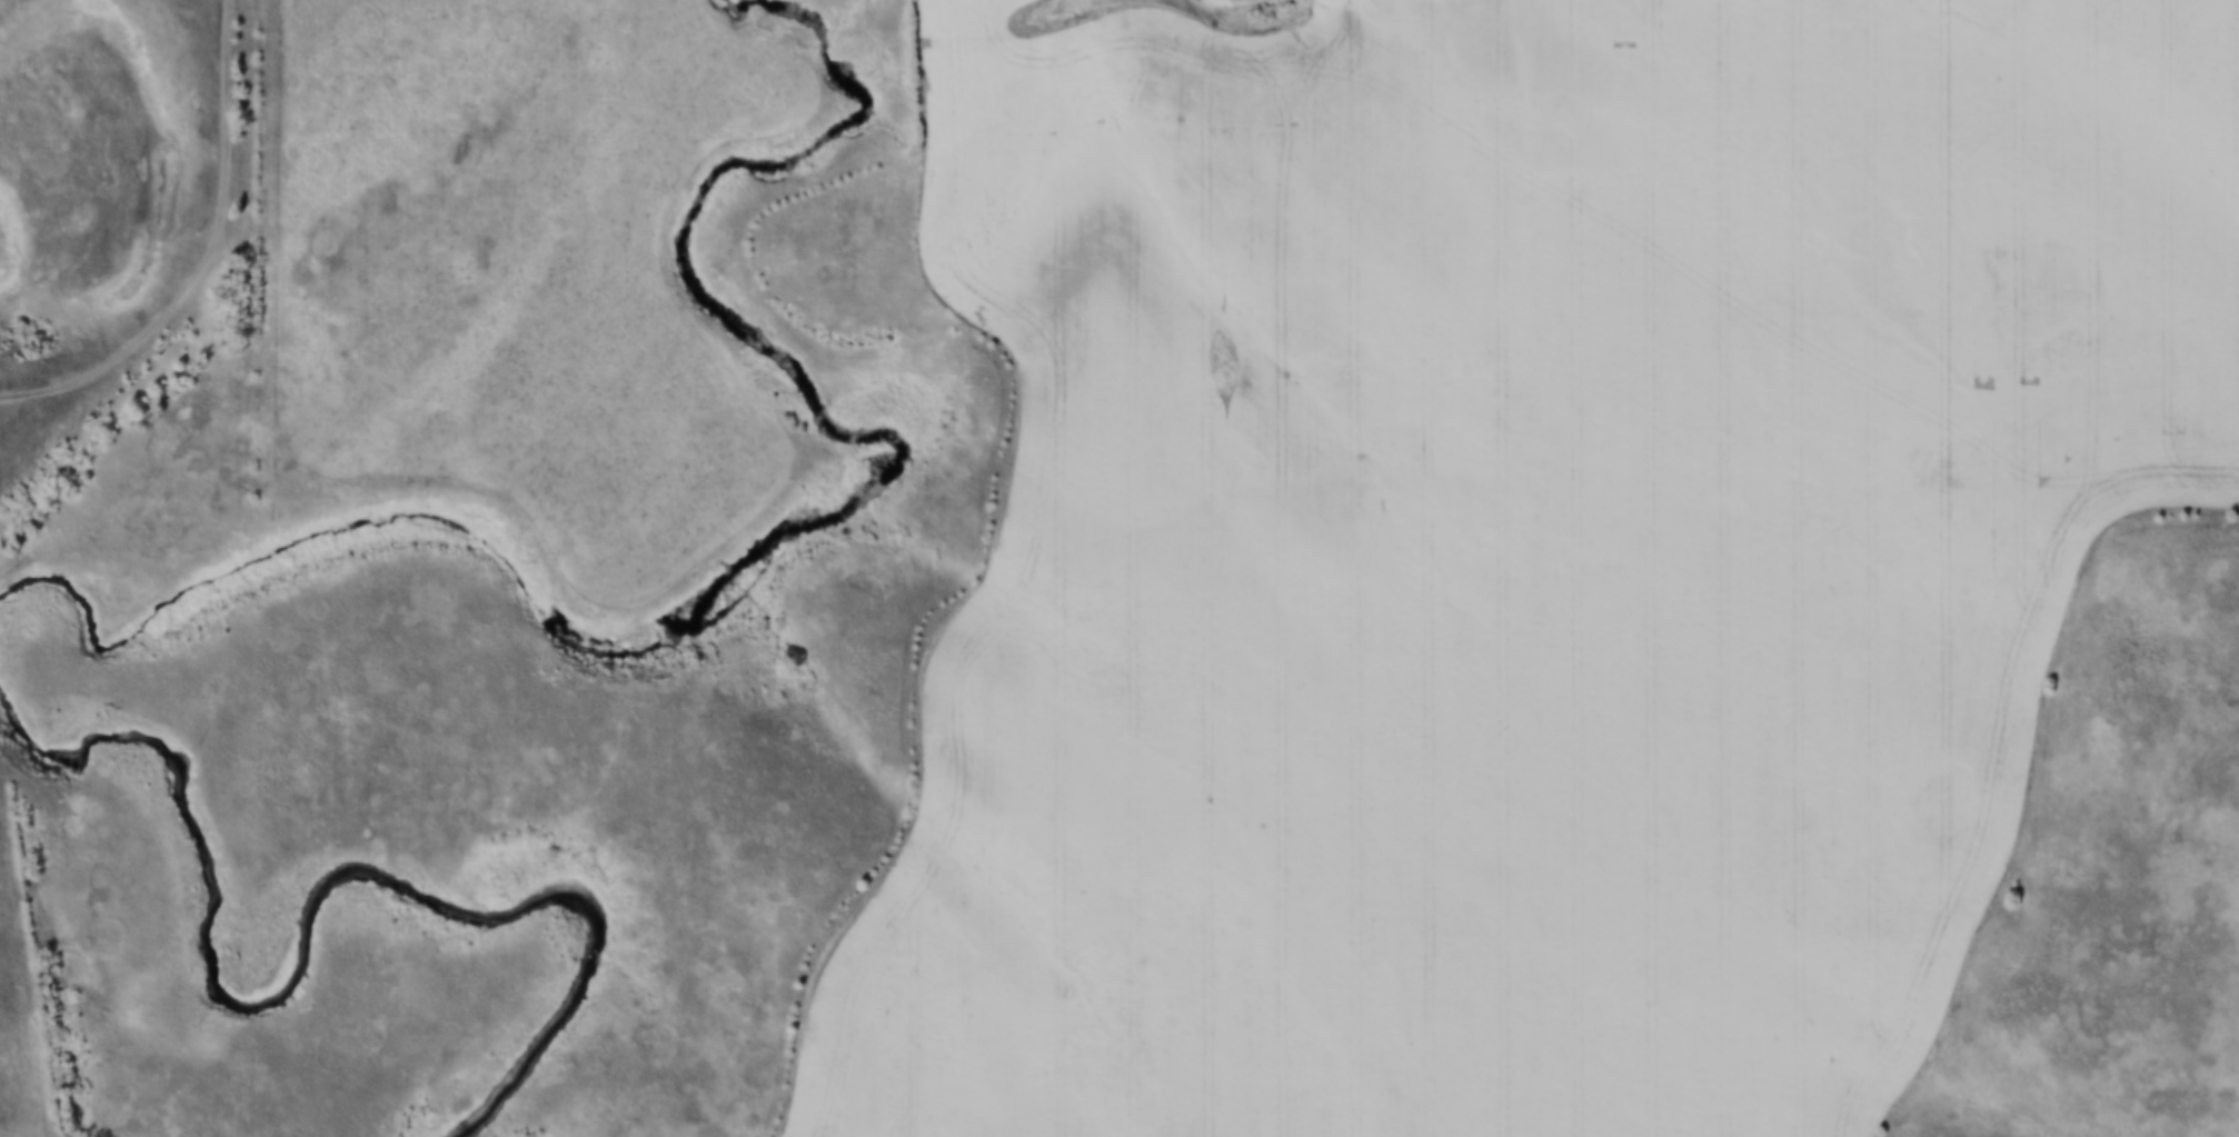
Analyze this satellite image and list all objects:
road: (207, 255)

